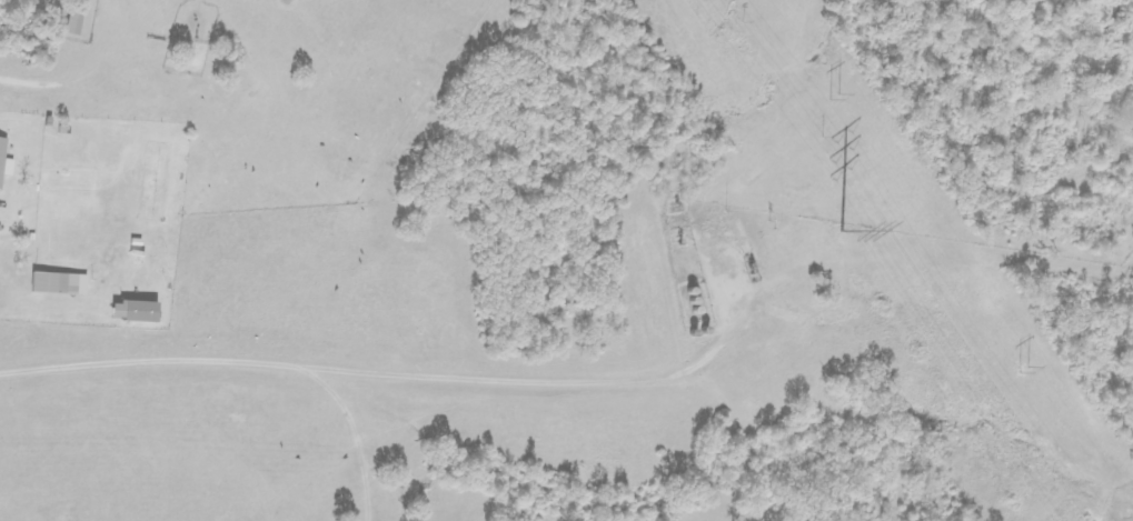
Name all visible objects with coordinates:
building: (73, 22)
power tower: (832, 96)
building: (4, 161)
power tower: (838, 224)
building: (59, 284)
building: (133, 312)
power tower: (1023, 373)

